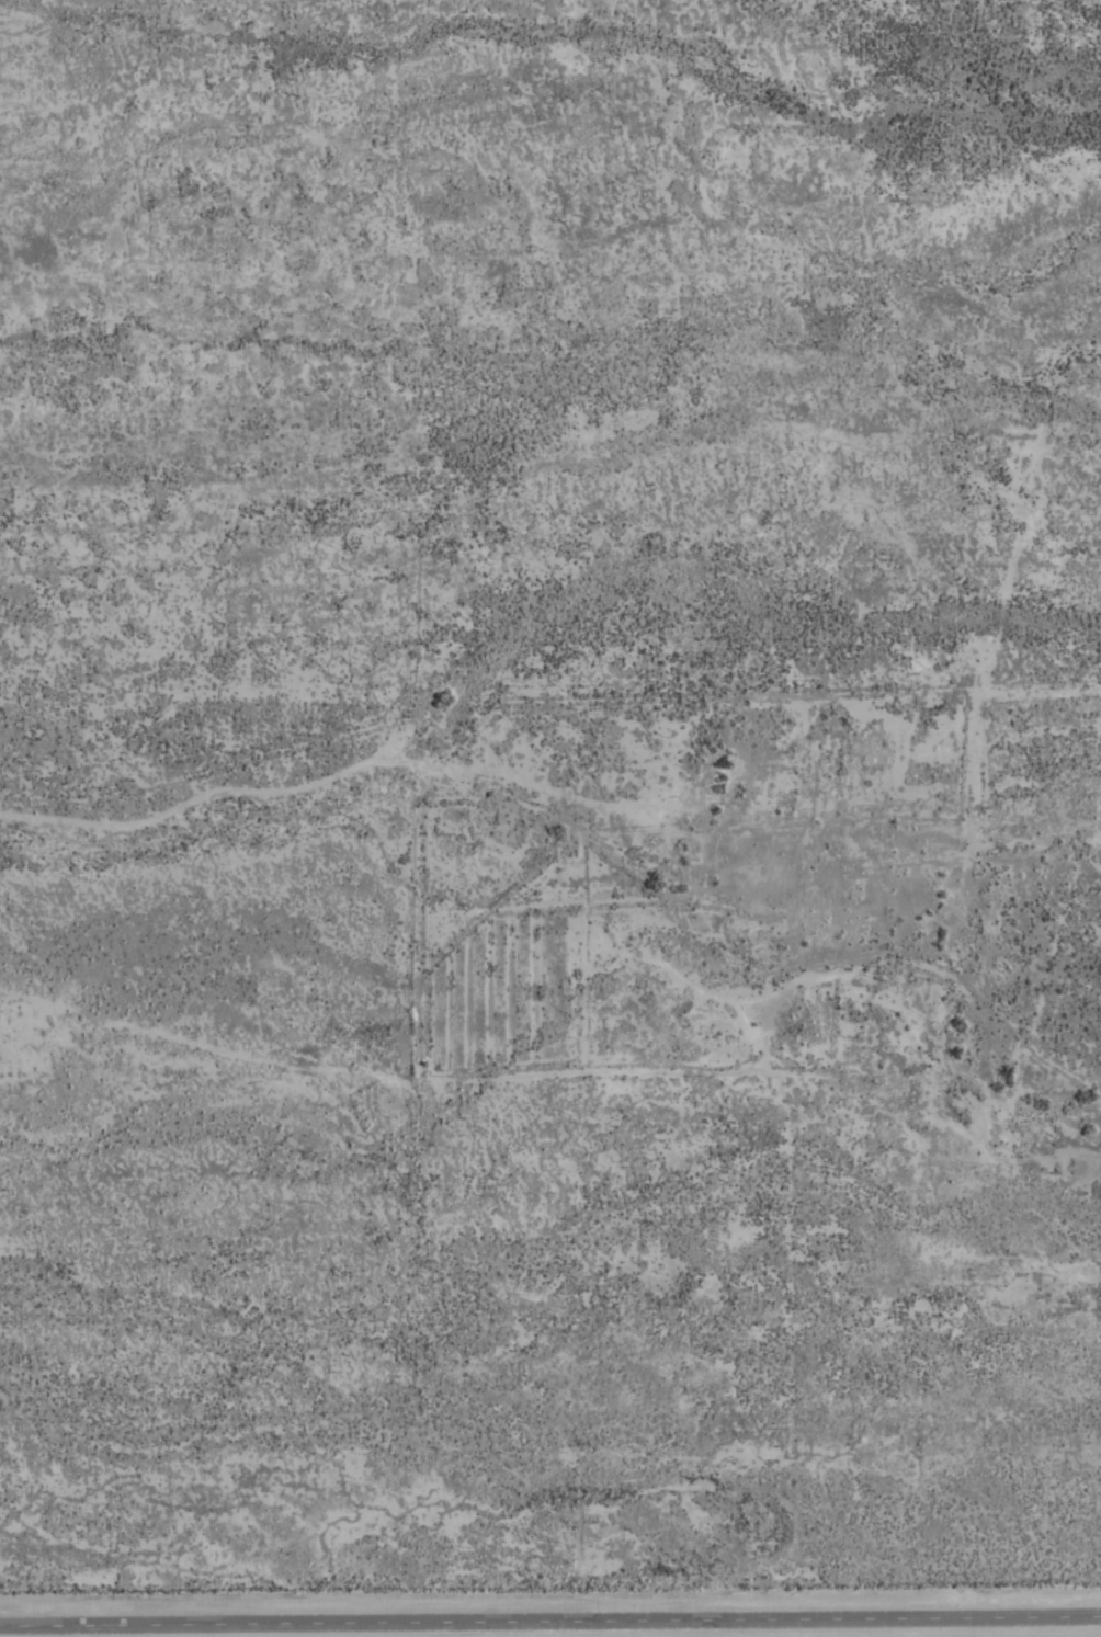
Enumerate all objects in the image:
road: (550, 1622)

